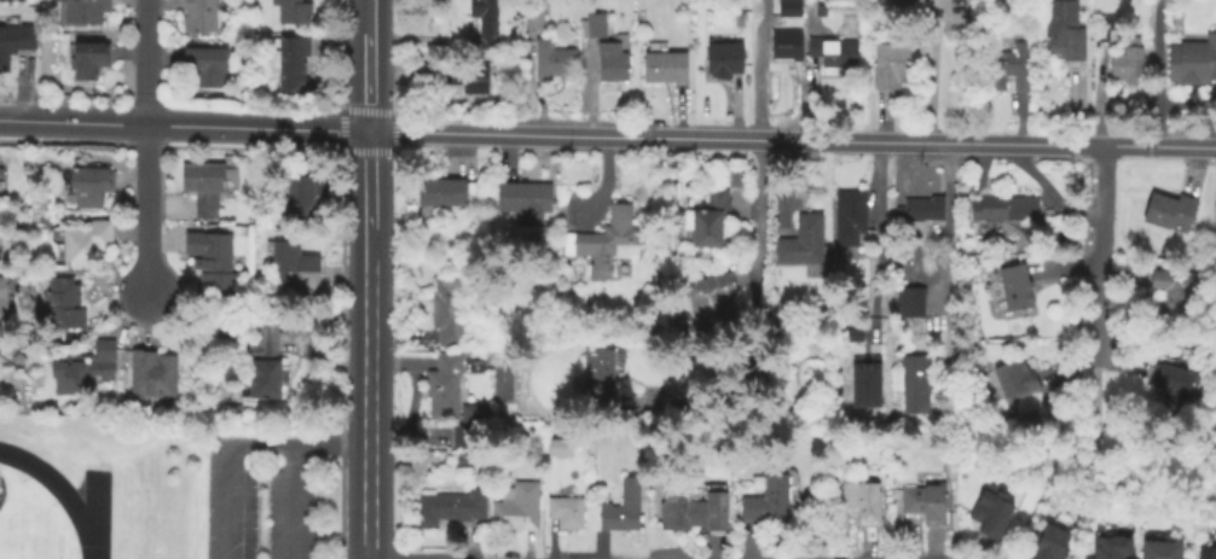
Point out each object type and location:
building: (6, 0)
building: (907, 2)
building: (788, 7)
building: (88, 12)
building: (295, 12)
building: (202, 16)
building: (537, 17)
building: (487, 23)
building: (596, 27)
building: (1066, 29)
building: (1106, 29)
building: (16, 45)
building: (789, 46)
building: (836, 52)
building: (1194, 59)
building: (726, 60)
building: (91, 62)
building: (555, 62)
building: (291, 64)
road: (369, 65)
building: (614, 65)
building: (894, 65)
building: (1004, 65)
building: (1129, 65)
building: (668, 68)
building: (208, 69)
road: (755, 70)
road: (932, 71)
road: (1156, 72)
building: (459, 76)
road: (184, 127)
road: (792, 141)
road: (146, 146)
building: (93, 187)
building: (207, 188)
building: (448, 194)
building: (305, 199)
building: (527, 200)
building: (922, 210)
building: (1004, 210)
building: (1174, 214)
building: (852, 217)
building: (711, 219)
road: (950, 227)
road: (874, 233)
building: (610, 241)
building: (88, 245)
building: (805, 245)
road: (1101, 254)
building: (214, 260)
building: (295, 267)
building: (1018, 286)
building: (1175, 291)
building: (714, 297)
building: (4, 298)
building: (910, 302)
building: (64, 307)
building: (451, 313)
road: (755, 318)
building: (855, 336)
road: (366, 345)
building: (266, 365)
building: (87, 367)
building: (602, 374)
building: (155, 375)
building: (1017, 380)
building: (872, 385)
building: (916, 385)
building: (447, 386)
building: (1175, 388)
building: (479, 414)
building: (1030, 418)
building: (458, 435)
road: (326, 438)
road: (1073, 467)
road: (220, 468)
road: (286, 500)
building: (770, 501)
building: (864, 501)
building: (927, 505)
building: (520, 507)
building: (452, 508)
building: (691, 508)
building: (625, 509)
building: (992, 511)
track: (88, 513)
building: (568, 514)
track: (35, 516)
park: (27, 541)
building: (1050, 546)
building: (1114, 548)
building: (1165, 551)
building: (1210, 551)

